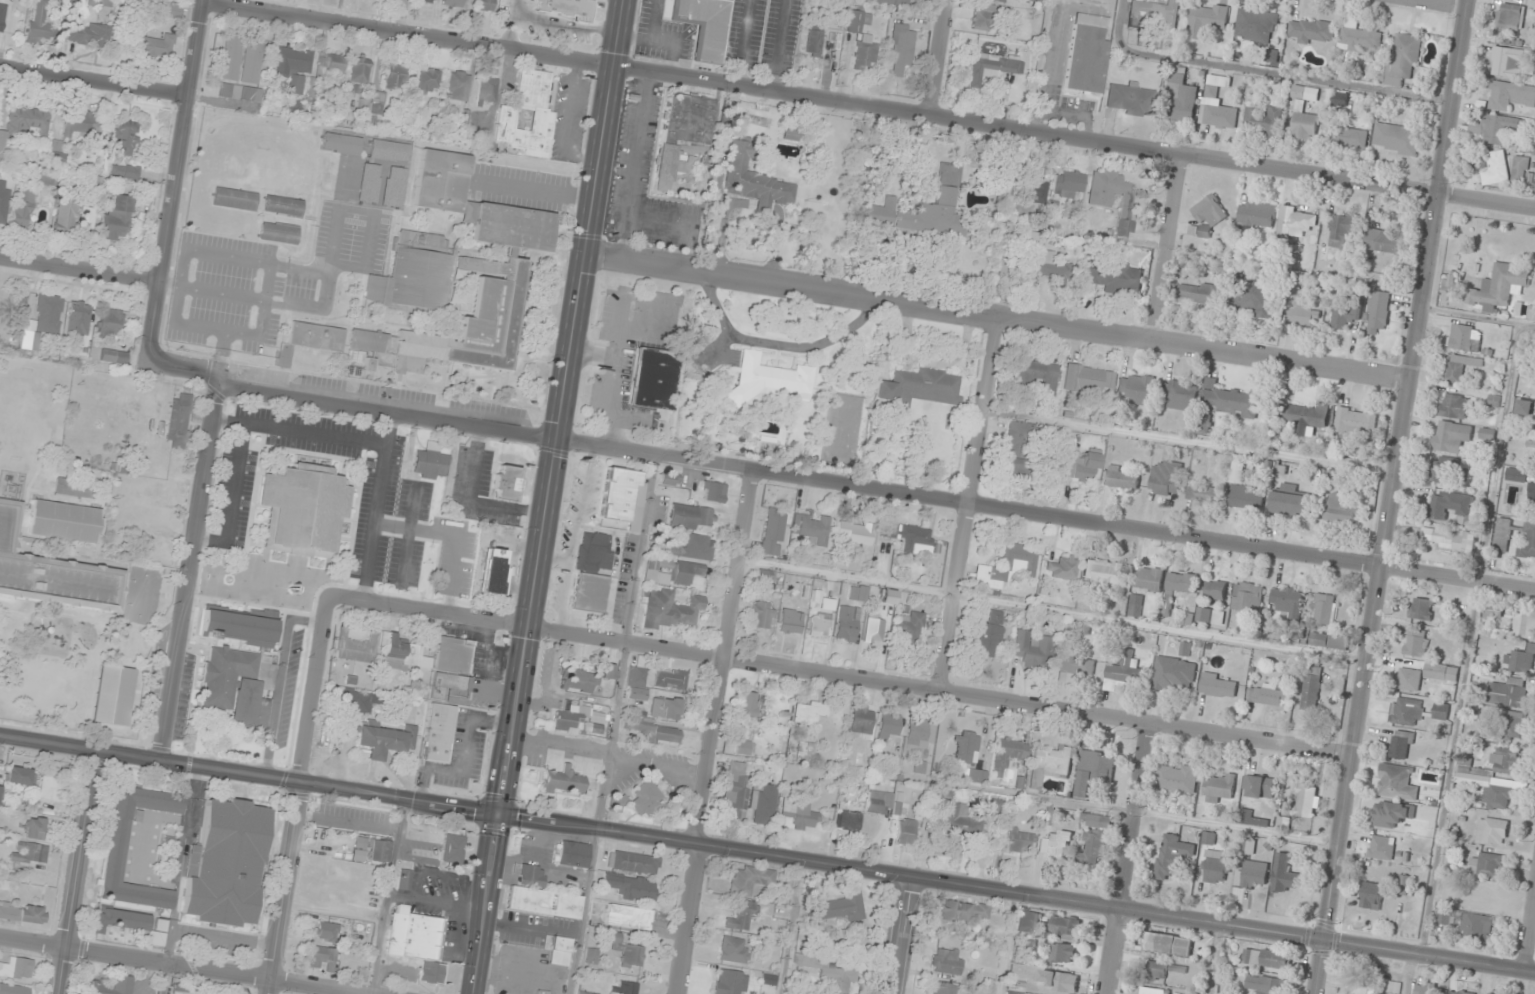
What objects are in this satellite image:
building: (1033, 0)
park: (181, 1)
building: (427, 1)
building: (998, 1)
building: (893, 2)
building: (454, 3)
road: (1436, 4)
building: (485, 5)
building: (565, 8)
building: (2, 16)
building: (1156, 16)
building: (983, 17)
building: (1510, 17)
building: (1207, 20)
building: (41, 23)
building: (705, 25)
building: (1256, 26)
building: (1312, 31)
building: (89, 34)
building: (1360, 36)
building: (813, 40)
building: (862, 40)
building: (155, 45)
building: (902, 50)
building: (1086, 53)
building: (1272, 56)
building: (231, 57)
road: (941, 58)
building: (1509, 60)
building: (1403, 61)
building: (252, 62)
building: (331, 62)
building: (293, 66)
building: (992, 67)
building: (358, 72)
road: (1262, 72)
building: (395, 76)
road: (94, 80)
building: (428, 81)
building: (458, 85)
building: (487, 89)
building: (1211, 91)
building: (242, 93)
building: (1510, 95)
building: (1180, 97)
building: (1128, 98)
road: (869, 106)
building: (1305, 115)
building: (1219, 116)
building: (542, 118)
building: (1263, 120)
building: (27, 121)
building: (82, 126)
building: (1504, 128)
building: (681, 133)
building: (1348, 137)
building: (123, 138)
building: (1396, 139)
building: (5, 147)
building: (57, 151)
road: (633, 167)
building: (1496, 169)
building: (1520, 169)
building: (125, 171)
building: (754, 179)
building: (441, 180)
road: (176, 181)
building: (1068, 182)
road: (531, 187)
building: (234, 198)
building: (1100, 200)
building: (3, 201)
building: (282, 205)
building: (22, 207)
building: (936, 207)
building: (880, 212)
building: (66, 214)
building: (1256, 215)
building: (87, 216)
building: (1209, 216)
building: (116, 220)
road: (660, 221)
building: (1296, 222)
building: (1340, 231)
building: (278, 233)
building: (1384, 242)
road: (1163, 247)
building: (1049, 266)
road: (81, 271)
road: (330, 277)
building: (1113, 279)
building: (1500, 287)
road: (180, 290)
building: (457, 291)
building: (1199, 293)
building: (1254, 296)
building: (1301, 307)
building: (1379, 312)
building: (1531, 312)
building: (46, 315)
building: (1345, 315)
building: (78, 316)
road: (996, 316)
road: (1477, 318)
building: (111, 322)
building: (315, 336)
building: (1464, 337)
road: (224, 355)
building: (114, 356)
building: (1459, 368)
building: (1038, 374)
building: (653, 378)
building: (1087, 378)
building: (771, 379)
building: (918, 387)
building: (1135, 387)
building: (1179, 395)
building: (1230, 402)
building: (1455, 407)
building: (1524, 408)
road: (980, 409)
building: (1304, 415)
building: (178, 419)
building: (1356, 422)
building: (1204, 425)
building: (53, 428)
road: (298, 431)
building: (1451, 437)
building: (1018, 438)
building: (160, 462)
building: (428, 463)
building: (1081, 465)
building: (1013, 468)
building: (1239, 469)
building: (1441, 469)
building: (1516, 475)
building: (1121, 477)
building: (1166, 478)
building: (671, 479)
building: (504, 482)
road: (840, 485)
building: (74, 488)
building: (713, 491)
building: (1204, 493)
building: (618, 494)
building: (1532, 495)
road: (1391, 496)
road: (545, 497)
building: (1247, 497)
road: (232, 499)
building: (1290, 504)
road: (377, 505)
building: (1448, 505)
building: (1341, 509)
building: (302, 510)
building: (690, 517)
building: (64, 521)
building: (811, 528)
building: (773, 531)
building: (854, 533)
road: (407, 534)
road: (454, 534)
building: (1503, 535)
building: (907, 536)
building: (1449, 539)
building: (1528, 545)
building: (693, 547)
building: (593, 551)
building: (1006, 566)
building: (492, 568)
building: (1062, 568)
road: (188, 569)
building: (52, 572)
building: (686, 573)
building: (1104, 575)
building: (765, 576)
fountain: (227, 579)
building: (1150, 579)
building: (1181, 583)
building: (1216, 590)
building: (589, 592)
building: (857, 593)
building: (1247, 598)
building: (1287, 602)
building: (1136, 605)
building: (671, 609)
building: (1421, 609)
building: (1324, 610)
building: (1493, 611)
building: (761, 617)
building: (791, 622)
building: (846, 624)
building: (1523, 624)
building: (237, 625)
building: (818, 626)
building: (910, 628)
building: (873, 630)
building: (989, 636)
road: (1469, 640)
building: (1324, 641)
building: (1415, 643)
building: (355, 648)
building: (1032, 648)
building: (402, 654)
building: (1520, 660)
building: (1076, 667)
building: (451, 669)
building: (607, 671)
building: (1124, 672)
building: (1441, 672)
road: (841, 674)
building: (1174, 674)
building: (670, 678)
road: (279, 679)
building: (1408, 679)
building: (579, 680)
building: (636, 682)
building: (234, 685)
building: (1219, 686)
building: (1310, 686)
building: (1268, 695)
building: (1508, 695)
building: (746, 704)
building: (666, 708)
building: (1441, 711)
building: (1406, 712)
building: (807, 713)
building: (580, 720)
building: (860, 722)
building: (886, 728)
building: (1510, 728)
building: (656, 731)
road: (713, 732)
building: (439, 733)
building: (919, 735)
building: (386, 740)
building: (1400, 745)
building: (742, 747)
building: (964, 748)
building: (803, 750)
building: (1007, 754)
building: (1503, 761)
building: (1051, 764)
building: (1093, 771)
building: (18, 775)
building: (974, 776)
building: (1176, 778)
building: (562, 782)
building: (1396, 783)
building: (1262, 787)
building: (1220, 788)
building: (0, 790)
building: (735, 791)
road: (300, 795)
building: (1496, 798)
building: (650, 800)
building: (1306, 801)
building: (879, 802)
building: (616, 803)
building: (763, 804)
traffic signals: (497, 813)
building: (801, 815)
building: (1391, 815)
building: (847, 820)
building: (959, 822)
building: (33, 828)
building: (905, 831)
building: (1491, 831)
building: (1096, 840)
building: (1019, 841)
building: (1057, 845)
building: (1247, 847)
building: (116, 848)
building: (450, 848)
building: (1381, 849)
building: (379, 851)
building: (29, 852)
building: (573, 854)
road: (767, 855)
building: (1172, 856)
road: (1128, 860)
building: (633, 862)
building: (226, 863)
road: (181, 864)
building: (1487, 865)
building: (1216, 867)
road: (77, 871)
building: (529, 874)
building: (1252, 875)
building: (1283, 878)
building: (404, 879)
building: (749, 879)
building: (631, 887)
building: (1371, 896)
building: (333, 899)
building: (543, 902)
building: (842, 907)
building: (964, 911)
building: (21, 913)
building: (628, 917)
building: (740, 917)
building: (1441, 917)
building: (120, 920)
building: (1028, 922)
building: (1476, 927)
road: (1528, 927)
building: (1065, 928)
building: (326, 931)
road: (900, 935)
building: (156, 939)
road: (224, 939)
building: (416, 941)
traffic signals: (1324, 943)
building: (1168, 945)
building: (733, 950)
building: (559, 951)
building: (626, 951)
building: (1063, 953)
building: (591, 955)
building: (320, 956)
building: (1266, 959)
building: (946, 961)
road: (184, 965)
building: (17, 968)
building: (1157, 971)
road: (1407, 974)
building: (830, 975)
building: (1062, 981)
building: (729, 982)
building: (1265, 985)
building: (1358, 985)
building: (113, 986)
building: (625, 987)
building: (1015, 987)
building: (942, 988)
building: (13, 989)
building: (1425, 990)
building: (1155, 991)
building: (1458, 992)
building: (584, 993)

